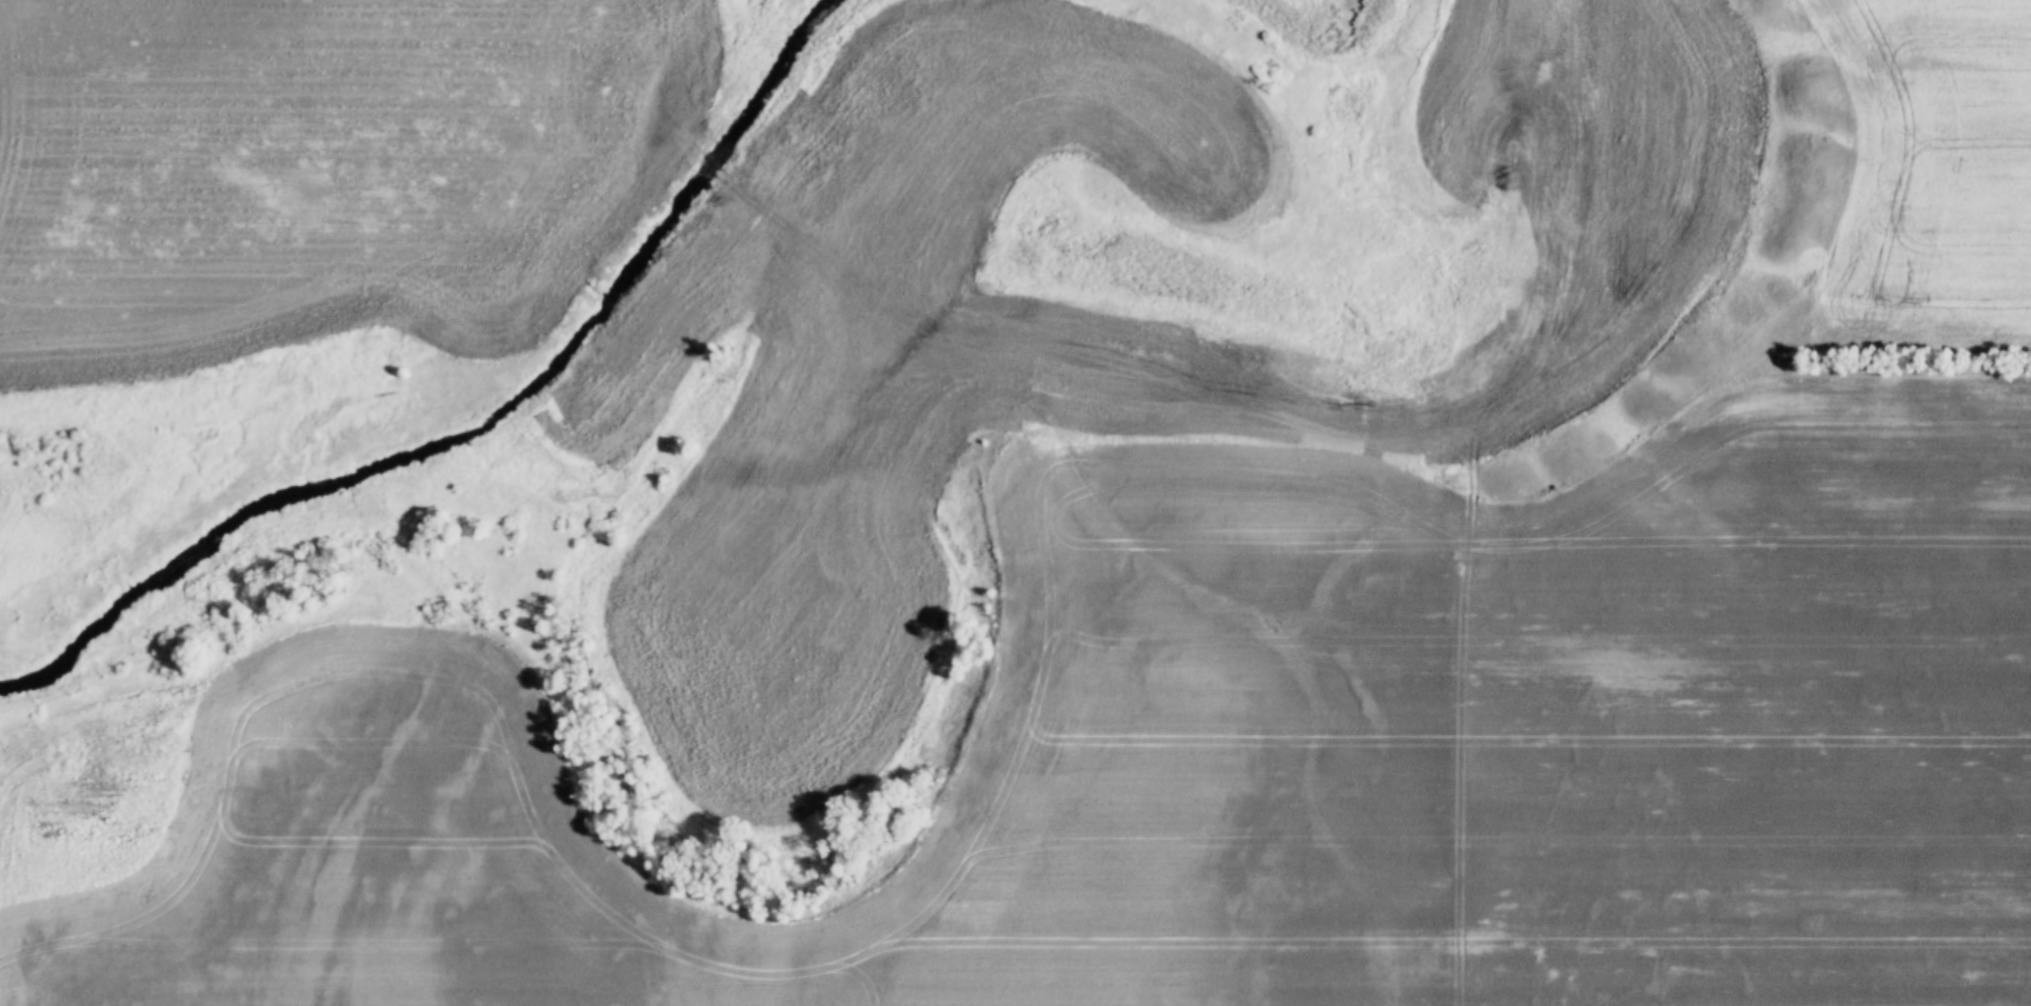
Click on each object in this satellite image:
road: (1463, 577)

